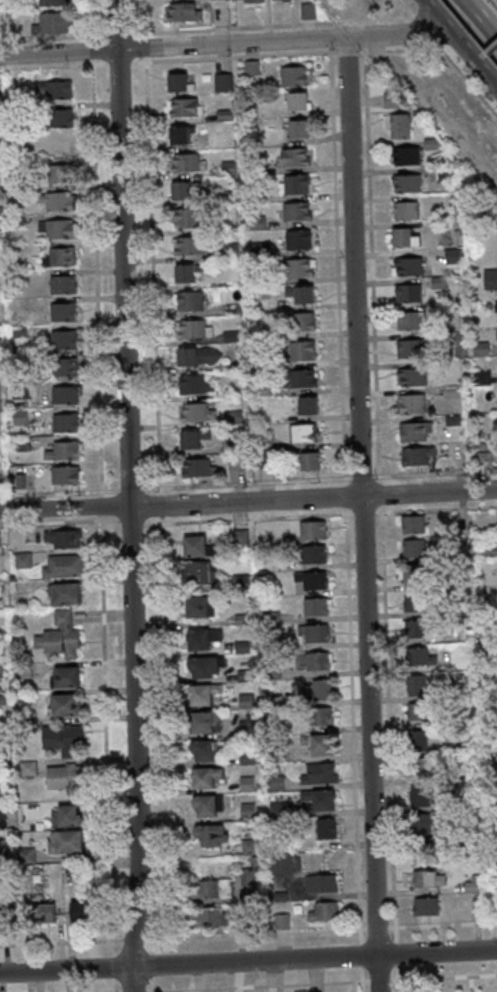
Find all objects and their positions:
building: (283, 0)
building: (258, 1)
building: (53, 2)
building: (181, 11)
building: (306, 11)
road: (88, 18)
building: (51, 22)
road: (473, 27)
road: (218, 28)
road: (448, 30)
road: (115, 35)
road: (44, 38)
road: (224, 44)
road: (490, 47)
road: (89, 50)
road: (478, 57)
road: (447, 58)
building: (249, 67)
road: (466, 67)
road: (485, 74)
building: (291, 75)
building: (175, 80)
building: (221, 82)
building: (53, 88)
building: (388, 99)
building: (296, 101)
building: (184, 107)
building: (57, 117)
road: (430, 118)
building: (398, 125)
building: (297, 128)
building: (178, 133)
building: (428, 142)
building: (61, 145)
building: (405, 155)
building: (293, 157)
building: (185, 162)
building: (14, 165)
building: (254, 167)
building: (226, 168)
building: (58, 172)
building: (444, 173)
building: (405, 182)
building: (294, 185)
building: (183, 190)
building: (255, 194)
building: (55, 200)
building: (403, 209)
building: (295, 211)
building: (185, 217)
building: (16, 221)
building: (255, 222)
building: (55, 228)
building: (403, 236)
building: (296, 239)
building: (190, 245)
building: (257, 250)
building: (230, 251)
building: (451, 255)
building: (57, 257)
building: (407, 265)
building: (295, 267)
building: (185, 271)
building: (489, 279)
building: (257, 280)
road: (95, 282)
building: (436, 282)
building: (60, 284)
building: (299, 292)
building: (406, 292)
building: (188, 301)
building: (495, 306)
building: (61, 311)
building: (408, 320)
building: (300, 321)
building: (193, 329)
building: (17, 331)
building: (495, 334)
building: (260, 335)
building: (229, 337)
building: (61, 338)
building: (444, 338)
building: (408, 348)
building: (301, 349)
building: (479, 350)
building: (196, 356)
building: (57, 365)
building: (410, 377)
building: (480, 378)
building: (298, 379)
building: (193, 384)
building: (260, 390)
building: (18, 391)
building: (450, 392)
building: (63, 394)
building: (409, 404)
building: (306, 405)
building: (195, 412)
building: (18, 417)
building: (232, 418)
building: (451, 420)
building: (63, 422)
building: (413, 431)
building: (301, 433)
building: (192, 438)
building: (262, 443)
building: (20, 444)
building: (234, 444)
building: (60, 450)
building: (415, 455)
building: (482, 459)
building: (263, 460)
building: (308, 460)
building: (234, 461)
building: (196, 467)
building: (63, 475)
building: (18, 481)
road: (128, 496)
road: (248, 501)
road: (362, 514)
building: (496, 519)
building: (410, 524)
building: (310, 529)
building: (62, 538)
building: (237, 539)
building: (196, 546)
building: (411, 548)
building: (487, 550)
building: (455, 553)
building: (311, 554)
building: (21, 560)
building: (61, 566)
building: (200, 571)
building: (409, 573)
building: (310, 580)
building: (238, 582)
building: (62, 592)
building: (412, 601)
building: (198, 606)
building: (314, 607)
building: (454, 610)
building: (269, 617)
building: (240, 620)
building: (413, 628)
building: (313, 633)
building: (58, 635)
building: (201, 638)
building: (241, 647)
building: (415, 656)
building: (316, 661)
building: (492, 664)
building: (203, 666)
building: (23, 671)
building: (270, 674)
building: (243, 676)
building: (62, 677)
building: (414, 685)
building: (319, 689)
building: (455, 690)
building: (201, 693)
building: (1, 699)
building: (244, 701)
building: (63, 704)
building: (419, 711)
building: (318, 715)
building: (201, 722)
building: (24, 726)
building: (245, 729)
building: (61, 738)
building: (415, 740)
building: (316, 743)
building: (205, 748)
building: (274, 755)
building: (245, 756)
building: (417, 766)
building: (27, 768)
building: (491, 770)
building: (317, 773)
building: (203, 777)
building: (65, 778)
building: (273, 783)
building: (0, 784)
building: (245, 784)
building: (417, 795)
building: (318, 798)
building: (491, 801)
building: (205, 804)
building: (275, 809)
building: (1, 811)
building: (246, 811)
building: (63, 816)
building: (418, 823)
building: (492, 826)
building: (324, 828)
building: (209, 834)
building: (63, 841)
building: (247, 846)
building: (3, 847)
building: (24, 856)
building: (252, 860)
building: (283, 863)
building: (67, 868)
building: (247, 877)
building: (424, 878)
building: (318, 883)
building: (470, 884)
building: (491, 885)
building: (213, 888)
building: (277, 896)
building: (423, 905)
building: (475, 906)
building: (82, 910)
building: (322, 911)
building: (40, 912)
building: (211, 917)
building: (280, 921)
road: (248, 961)
road: (472, 984)
park: (452, 986)

